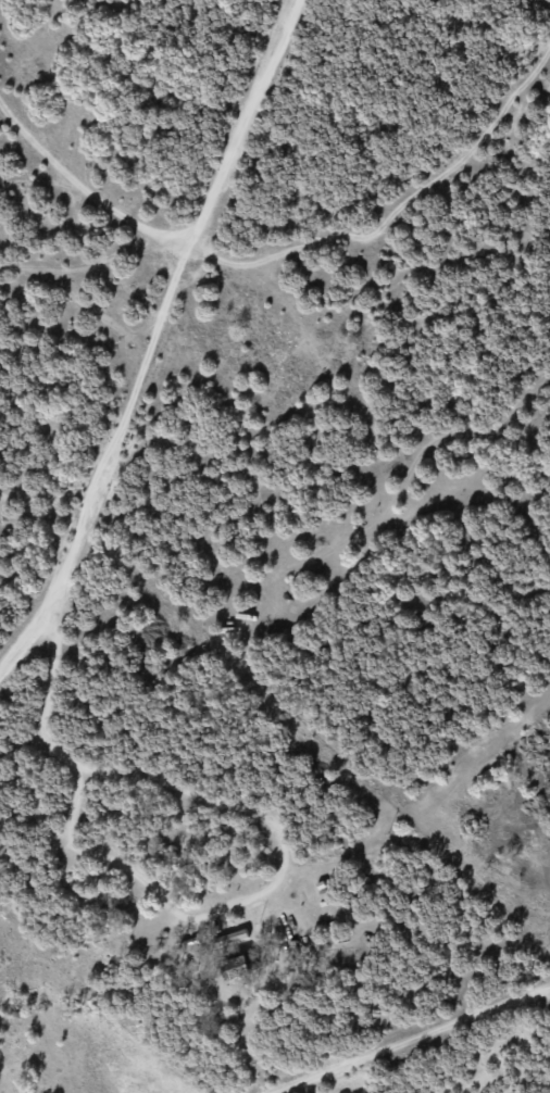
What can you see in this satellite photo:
road: (99, 249)
road: (160, 332)

